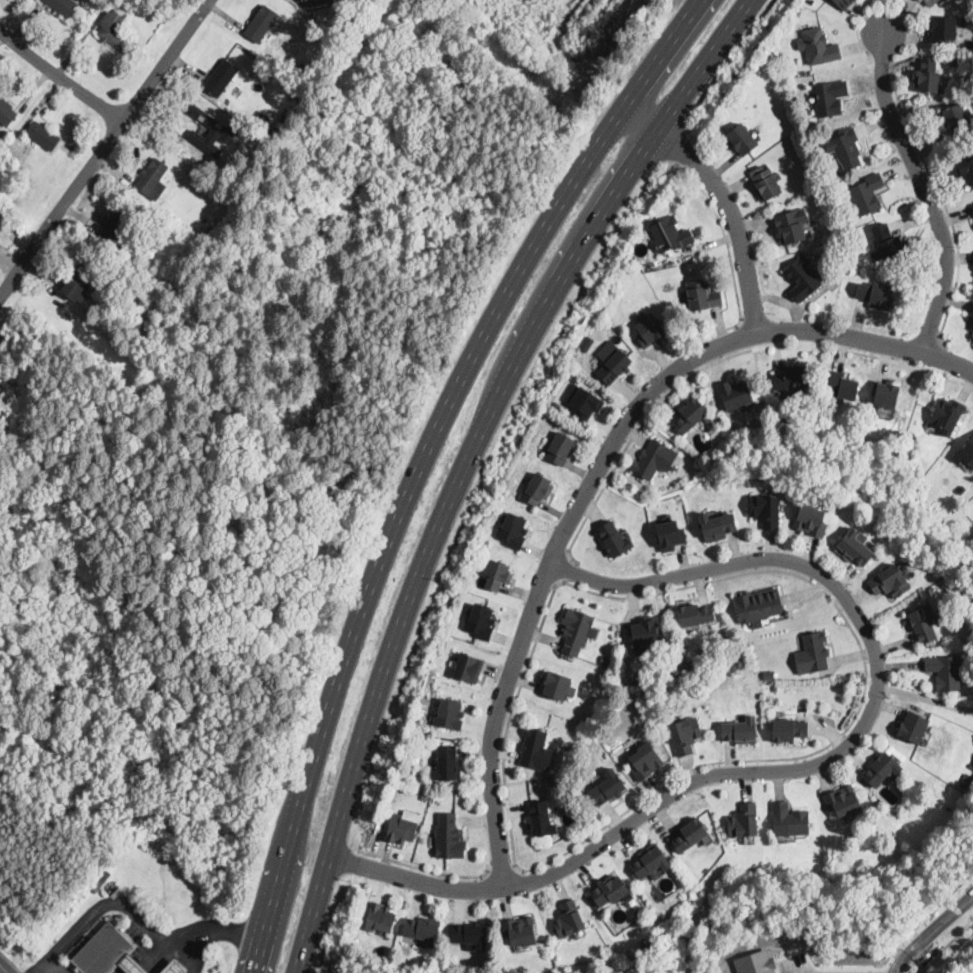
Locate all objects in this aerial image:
building: (920, 0)
building: (317, 2)
building: (930, 2)
building: (844, 3)
building: (62, 6)
building: (794, 15)
building: (965, 22)
building: (261, 24)
building: (350, 29)
building: (943, 29)
building: (113, 31)
building: (818, 47)
building: (928, 76)
road: (59, 78)
building: (220, 79)
building: (830, 97)
building: (226, 101)
building: (6, 113)
building: (955, 118)
building: (286, 120)
building: (186, 127)
building: (279, 129)
building: (210, 131)
building: (43, 136)
building: (742, 140)
road: (104, 148)
building: (845, 148)
building: (4, 168)
building: (209, 169)
building: (963, 169)
building: (152, 180)
building: (765, 183)
road: (927, 191)
building: (866, 195)
road: (724, 199)
road: (944, 203)
building: (972, 205)
building: (167, 215)
building: (115, 226)
building: (791, 226)
building: (670, 235)
building: (887, 241)
road: (730, 258)
building: (803, 279)
building: (79, 280)
building: (703, 295)
building: (875, 295)
building: (89, 312)
building: (972, 327)
building: (650, 331)
road: (741, 337)
road: (936, 338)
building: (587, 344)
road: (937, 356)
building: (613, 362)
road: (719, 362)
building: (792, 378)
building: (842, 386)
building: (735, 394)
building: (886, 394)
building: (586, 403)
building: (555, 405)
building: (948, 415)
building: (693, 416)
building: (560, 448)
building: (968, 453)
building: (655, 459)
road: (421, 461)
road: (469, 461)
road: (598, 471)
building: (536, 489)
road: (470, 490)
building: (766, 511)
building: (812, 520)
building: (717, 526)
building: (513, 532)
building: (671, 535)
building: (614, 540)
building: (854, 548)
road: (567, 571)
building: (497, 575)
building: (891, 582)
building: (758, 606)
building: (695, 615)
building: (480, 623)
building: (924, 625)
building: (575, 631)
building: (645, 634)
building: (812, 654)
building: (607, 660)
building: (469, 669)
building: (945, 672)
building: (769, 675)
building: (556, 686)
building: (774, 689)
road: (925, 697)
road: (861, 705)
building: (449, 715)
road: (509, 721)
building: (913, 727)
building: (789, 730)
building: (741, 731)
building: (685, 736)
building: (536, 750)
building: (972, 759)
building: (646, 762)
building: (448, 764)
building: (970, 764)
road: (814, 766)
building: (883, 770)
building: (607, 788)
building: (425, 796)
building: (844, 802)
building: (541, 819)
building: (790, 820)
building: (744, 821)
building: (400, 830)
building: (691, 836)
building: (449, 837)
building: (650, 862)
road: (426, 870)
road: (502, 871)
building: (610, 891)
road: (139, 914)
building: (381, 918)
building: (569, 919)
building: (423, 930)
road: (930, 930)
building: (520, 932)
building: (470, 936)
building: (645, 944)
building: (108, 952)
road: (199, 952)
building: (756, 962)
parking lot: (798, 964)
road: (926, 964)
road: (58, 965)
building: (174, 968)
road: (316, 969)

